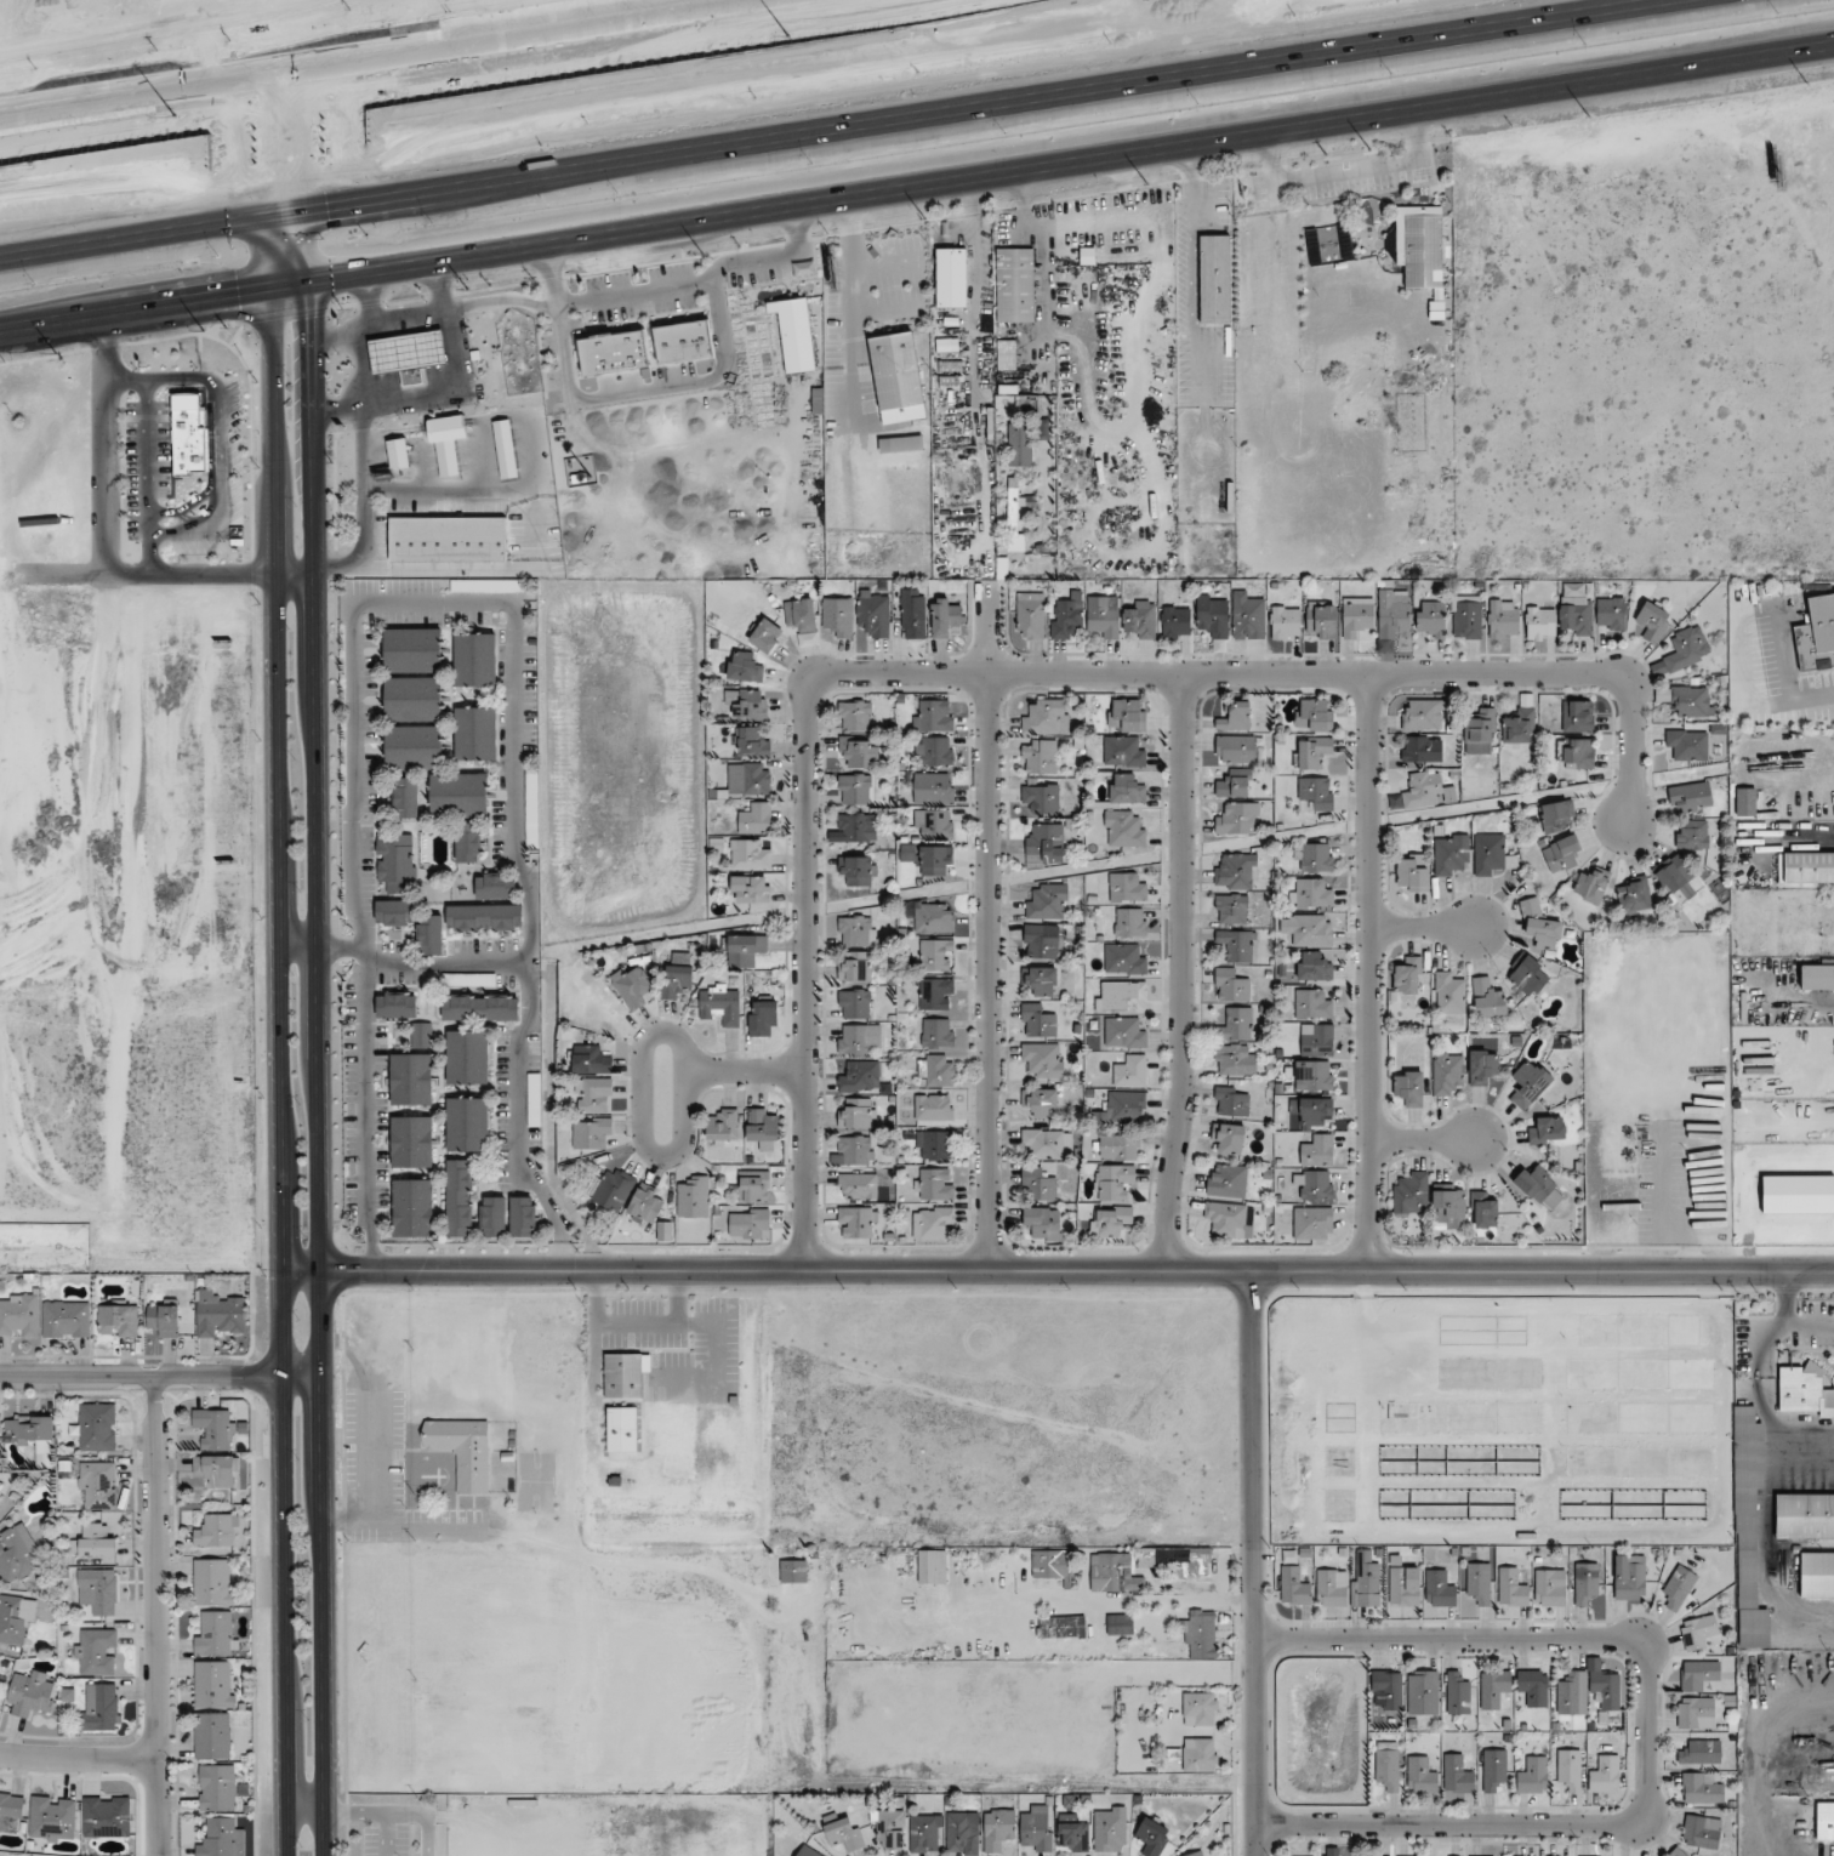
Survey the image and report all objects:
road: (309, 32)
road: (272, 34)
road: (371, 55)
road: (944, 90)
road: (1100, 161)
road: (1351, 173)
road: (283, 193)
road: (104, 221)
building: (1420, 245)
road: (773, 257)
building: (949, 277)
building: (1213, 279)
road: (919, 281)
building: (1013, 284)
road: (633, 292)
traffic signals: (233, 295)
building: (1356, 297)
road: (370, 300)
road: (183, 302)
road: (501, 302)
road: (853, 315)
road: (408, 318)
road: (558, 329)
building: (792, 334)
building: (679, 342)
gas station: (404, 352)
building: (609, 352)
building: (1006, 354)
building: (406, 360)
building: (894, 377)
road: (182, 381)
road: (694, 382)
road: (449, 391)
building: (1043, 419)
road: (417, 432)
road: (477, 432)
building: (190, 434)
building: (444, 440)
building: (898, 444)
building: (1020, 444)
road: (106, 445)
road: (360, 446)
building: (502, 449)
building: (394, 452)
road: (148, 456)
building: (575, 478)
road: (210, 484)
road: (444, 490)
road: (183, 508)
building: (1015, 517)
building: (445, 540)
road: (501, 569)
road: (291, 571)
road: (141, 574)
road: (410, 602)
building: (1574, 610)
building: (873, 613)
building: (1213, 614)
building: (1611, 614)
building: (838, 615)
building: (1030, 615)
building: (1066, 615)
building: (945, 616)
building: (1104, 616)
building: (1247, 616)
building: (1356, 616)
building: (1392, 616)
building: (912, 617)
building: (802, 619)
building: (1431, 619)
building: (1503, 619)
building: (1140, 620)
building: (1321, 620)
building: (1466, 620)
building: (1652, 620)
building: (1175, 621)
building: (1286, 622)
building: (1540, 622)
building: (1816, 634)
building: (765, 636)
building: (1686, 648)
building: (414, 649)
building: (475, 659)
building: (744, 667)
road: (275, 668)
road: (999, 674)
building: (414, 699)
building: (1691, 701)
building: (747, 704)
building: (1128, 713)
building: (1423, 713)
building: (854, 714)
building: (933, 714)
building: (1314, 714)
building: (1236, 716)
building: (1578, 716)
building: (1047, 717)
building: (1480, 725)
building: (1520, 725)
building: (475, 733)
building: (752, 741)
building: (1687, 745)
building: (414, 747)
building: (1236, 748)
building: (1422, 748)
building: (934, 750)
building: (1124, 751)
building: (1314, 751)
building: (859, 752)
building: (1578, 752)
building: (1040, 756)
road: (354, 776)
building: (748, 778)
building: (1236, 784)
road: (512, 785)
building: (934, 787)
building: (855, 788)
building: (1126, 788)
building: (1429, 791)
building: (1317, 792)
building: (458, 795)
building: (406, 797)
building: (1691, 797)
building: (1041, 798)
building: (532, 808)
building: (1557, 815)
building: (756, 819)
building: (1238, 819)
building: (934, 822)
building: (854, 827)
building: (1123, 829)
building: (1692, 833)
building: (468, 842)
building: (1044, 842)
building: (1449, 853)
building: (748, 854)
building: (1491, 854)
building: (1562, 854)
building: (1314, 856)
building: (395, 860)
building: (936, 860)
building: (1809, 866)
building: (858, 871)
building: (1236, 871)
building: (1411, 873)
building: (1678, 879)
building: (495, 886)
building: (1591, 886)
building: (1127, 887)
building: (751, 890)
building: (1311, 892)
building: (1634, 895)
building: (1048, 901)
building: (1231, 907)
building: (394, 912)
building: (484, 917)
building: (934, 918)
building: (1129, 922)
road: (990, 926)
building: (1539, 926)
building: (1308, 928)
road: (1423, 928)
building: (856, 930)
building: (429, 935)
building: (1041, 940)
building: (1237, 944)
road: (296, 947)
road: (337, 949)
building: (745, 950)
building: (935, 955)
building: (1124, 957)
road: (314, 960)
road: (437, 963)
building: (856, 966)
building: (1312, 966)
road: (1184, 974)
road: (1371, 974)
building: (678, 975)
building: (1408, 977)
building: (1530, 977)
building: (1817, 977)
building: (468, 979)
building: (1040, 980)
building: (1231, 984)
building: (632, 986)
building: (1448, 992)
building: (935, 994)
building: (1117, 994)
building: (1487, 997)
building: (720, 1002)
building: (854, 1003)
building: (1314, 1003)
building: (397, 1004)
building: (480, 1007)
building: (763, 1017)
building: (1037, 1020)
building: (1236, 1024)
building: (936, 1032)
building: (1124, 1032)
building: (421, 1035)
building: (858, 1038)
building: (1318, 1041)
building: (467, 1057)
building: (591, 1059)
building: (1043, 1059)
building: (1235, 1059)
building: (1481, 1065)
building: (935, 1070)
building: (1130, 1071)
road: (745, 1072)
building: (1447, 1072)
building: (1314, 1075)
building: (860, 1077)
building: (411, 1078)
building: (1528, 1083)
building: (1408, 1087)
building: (594, 1094)
building: (534, 1099)
building: (1231, 1100)
building: (1040, 1103)
building: (933, 1106)
building: (1121, 1109)
building: (1315, 1110)
road: (364, 1112)
building: (855, 1112)
road: (640, 1118)
building: (467, 1123)
road: (518, 1123)
building: (762, 1123)
building: (722, 1127)
building: (1548, 1131)
building: (592, 1132)
building: (1228, 1138)
building: (412, 1142)
road: (1425, 1142)
building: (1048, 1143)
building: (1616, 1144)
building: (934, 1145)
building: (1118, 1146)
building: (855, 1150)
building: (1317, 1150)
building: (1226, 1180)
building: (935, 1183)
building: (1038, 1183)
building: (1115, 1183)
building: (1536, 1184)
building: (858, 1185)
building: (1315, 1185)
building: (753, 1186)
building: (613, 1189)
building: (1411, 1192)
building: (694, 1196)
building: (458, 1197)
building: (645, 1205)
building: (412, 1207)
building: (1448, 1207)
building: (1483, 1212)
building: (492, 1215)
building: (523, 1217)
building: (1229, 1218)
building: (1110, 1220)
building: (748, 1222)
building: (856, 1222)
building: (932, 1222)
building: (1043, 1222)
building: (1312, 1222)
road: (1058, 1271)
building: (18, 1314)
building: (218, 1315)
building: (65, 1319)
building: (164, 1319)
building: (116, 1320)
building: (623, 1376)
road: (160, 1379)
building: (1805, 1389)
building: (97, 1427)
building: (215, 1428)
building: (28, 1429)
building: (462, 1451)
building: (216, 1470)
road: (371, 1480)
building: (97, 1485)
building: (1805, 1515)
building: (216, 1530)
building: (1748, 1531)
road: (427, 1532)
building: (95, 1541)
building: (17, 1555)
building: (1178, 1560)
road: (284, 1562)
building: (1049, 1564)
road: (1255, 1564)
building: (930, 1566)
building: (793, 1571)
building: (1113, 1573)
building: (1817, 1575)
building: (1629, 1577)
building: (1479, 1581)
building: (213, 1582)
building: (1587, 1583)
building: (1366, 1584)
building: (1294, 1585)
building: (1403, 1585)
building: (1332, 1587)
building: (1549, 1587)
building: (1439, 1588)
building: (1511, 1588)
building: (1678, 1588)
building: (97, 1590)
road: (1063, 1600)
road: (159, 1617)
building: (16, 1619)
building: (1120, 1624)
building: (1061, 1627)
building: (216, 1632)
building: (1698, 1632)
building: (1200, 1633)
building: (96, 1651)
building: (1698, 1674)
building: (213, 1684)
building: (1533, 1686)
building: (1494, 1687)
building: (1386, 1689)
building: (1606, 1689)
building: (30, 1692)
building: (1423, 1692)
building: (1457, 1693)
building: (1572, 1693)
building: (101, 1707)
building: (1200, 1708)
building: (1696, 1713)
road: (1648, 1733)
building: (213, 1735)
building: (1701, 1752)
building: (1201, 1754)
road: (79, 1758)
building: (1388, 1764)
building: (1493, 1767)
building: (1570, 1767)
building: (1457, 1774)
building: (1605, 1774)
building: (1420, 1775)
building: (1533, 1776)
building: (217, 1786)
building: (1701, 1788)
building: (11, 1811)
road: (304, 1812)
road: (375, 1812)
building: (106, 1816)
road: (423, 1816)
building: (52, 1818)
building: (1824, 1821)
building: (890, 1827)
building: (1036, 1827)
building: (998, 1828)
building: (1110, 1828)
building: (961, 1831)
building: (1701, 1831)
building: (844, 1833)
building: (922, 1833)
building: (1072, 1833)
building: (1152, 1837)
building: (222, 1838)
building: (808, 1851)
building: (1195, 1854)
building: (1375, 1855)

